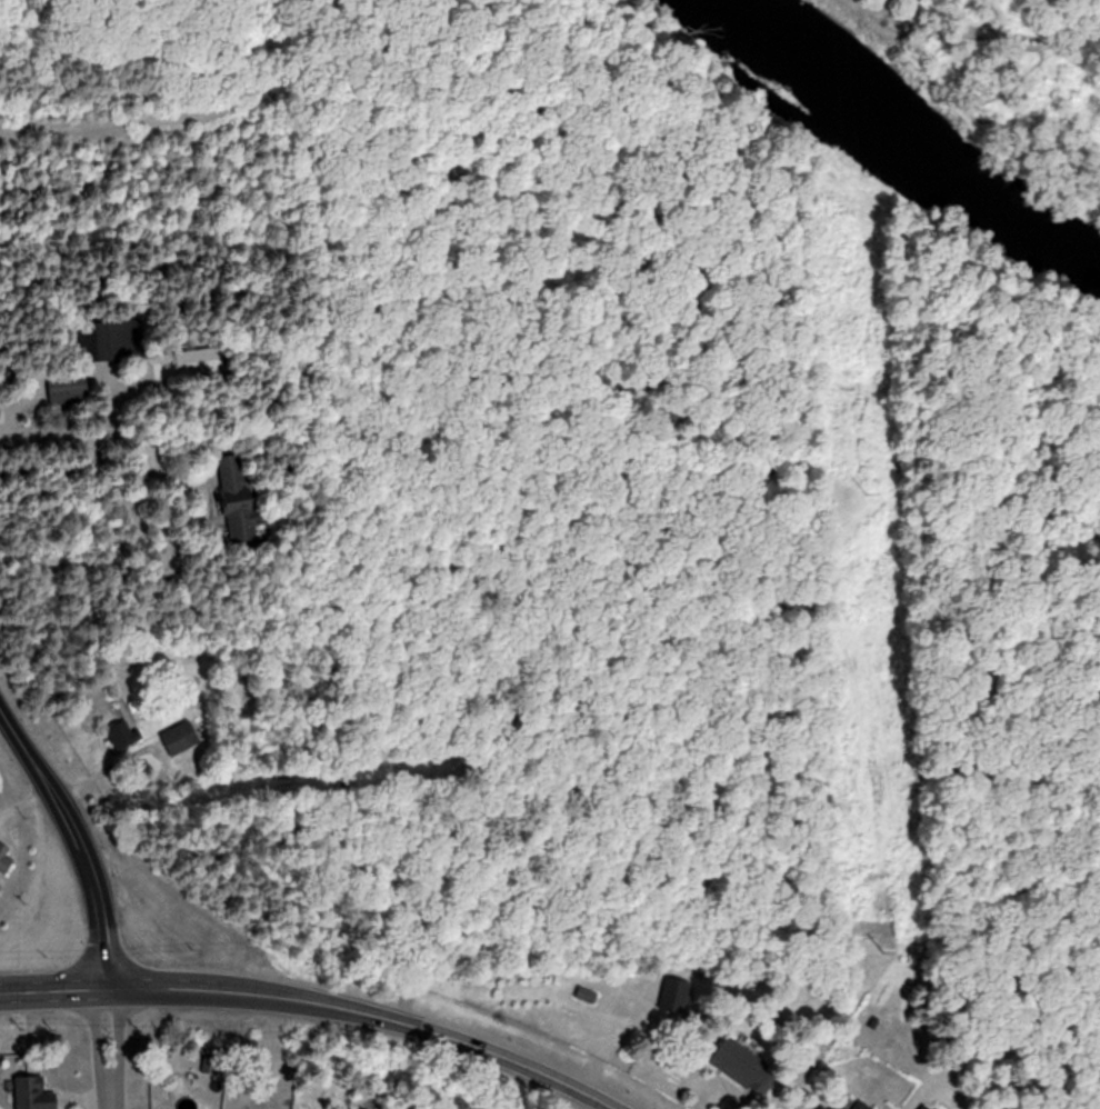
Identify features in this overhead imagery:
river: (902, 138)
building: (66, 388)
road: (51, 442)
power tower: (867, 490)
building: (232, 497)
building: (121, 736)
building: (179, 738)
road: (22, 793)
road: (81, 843)
building: (6, 858)
power tower: (881, 943)
building: (587, 995)
road: (312, 1003)
road: (108, 1049)
building: (743, 1068)
building: (36, 1093)
building: (861, 1105)
building: (828, 1106)
building: (924, 1107)
building: (939, 1107)

